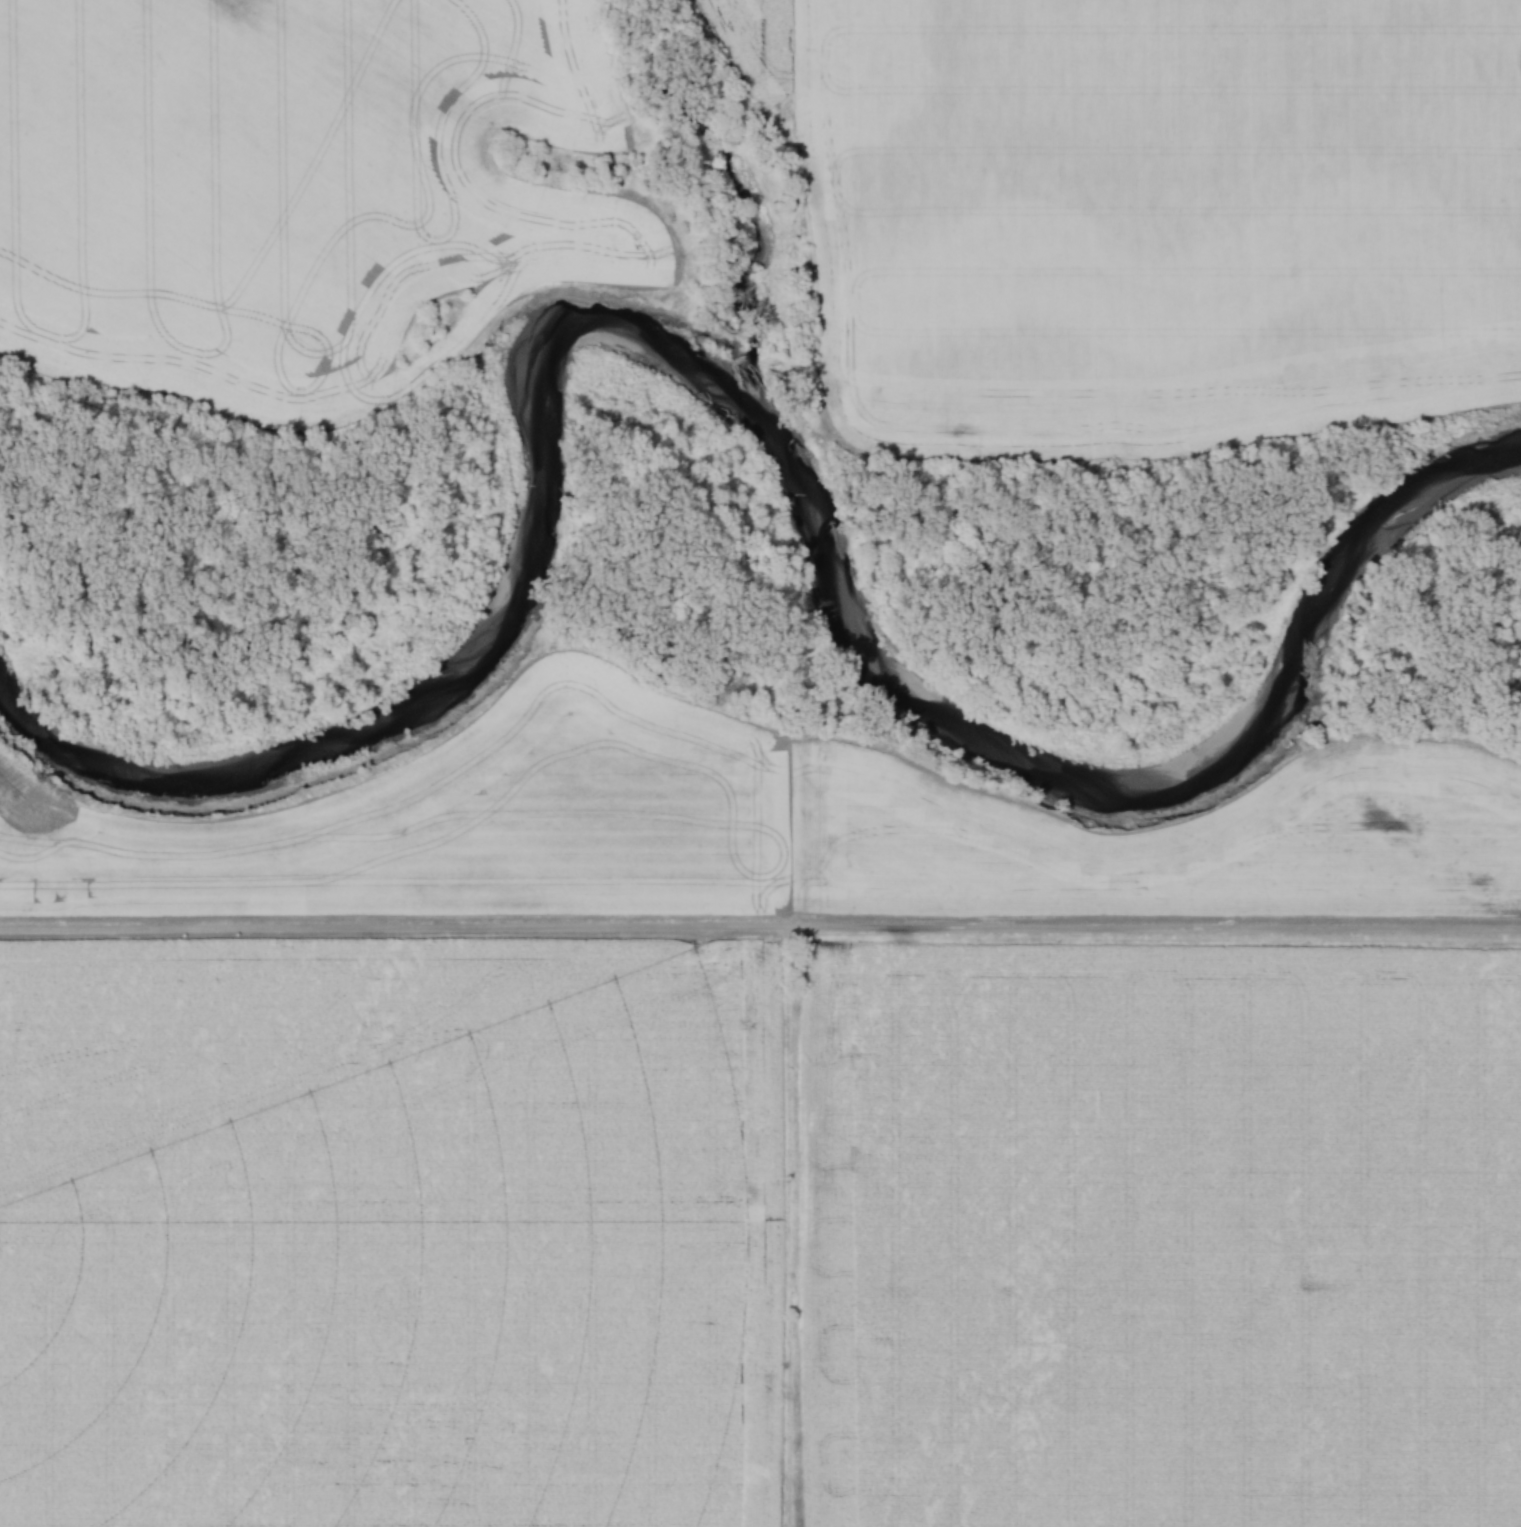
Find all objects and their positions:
river: (725, 394)
road: (760, 930)

